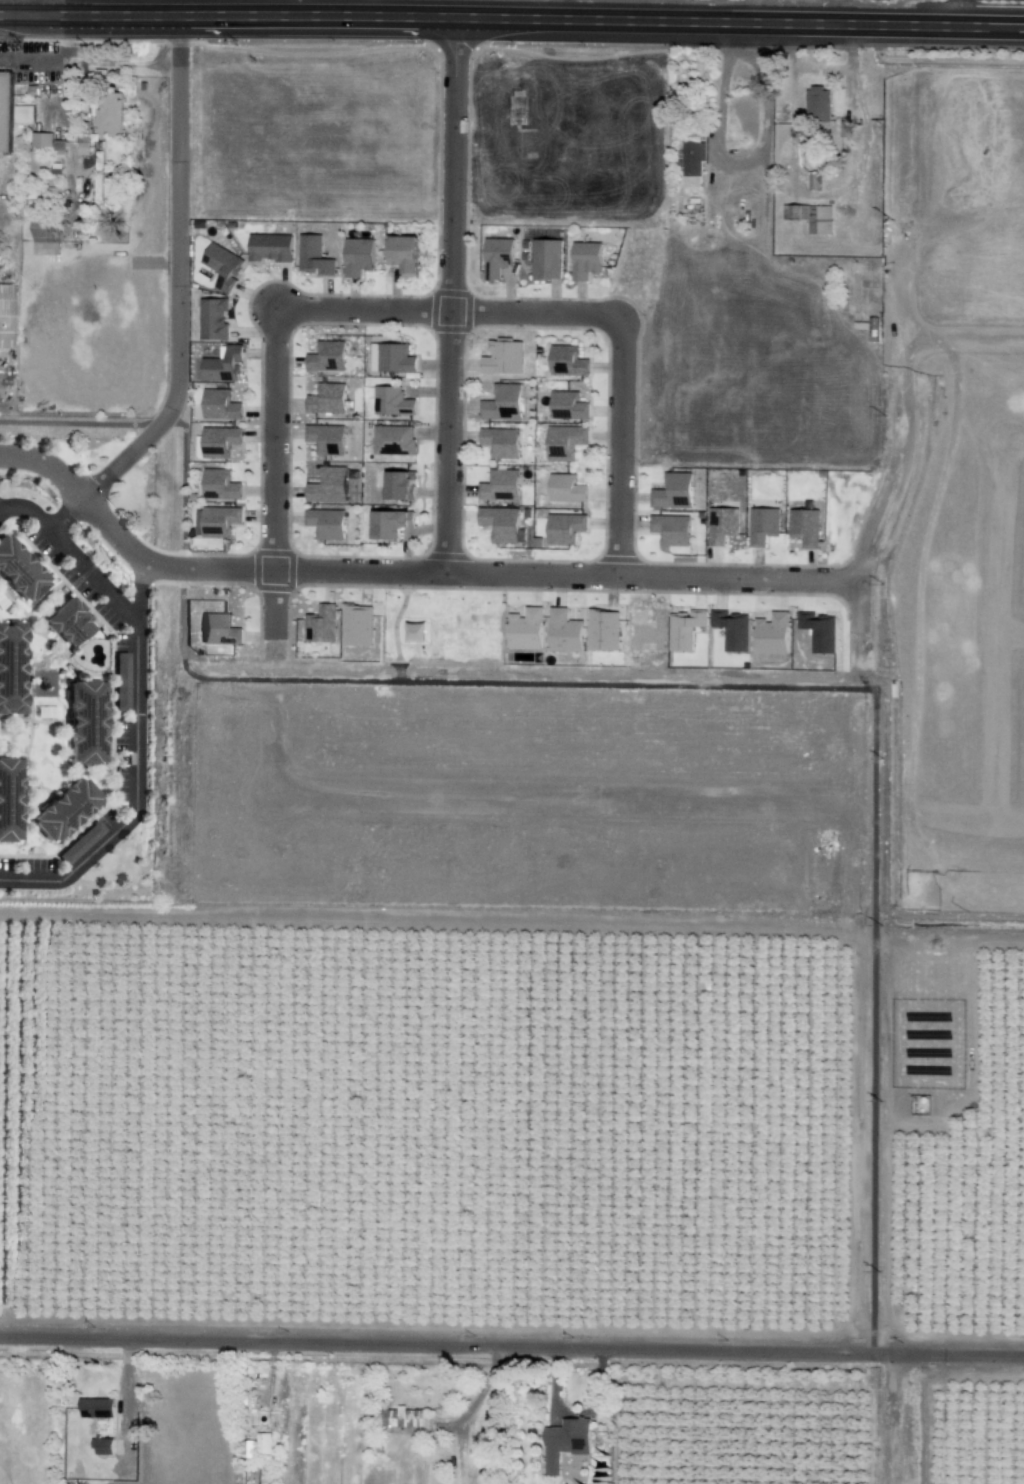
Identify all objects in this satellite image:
road: (36, 2)
road: (160, 9)
road: (291, 10)
road: (38, 11)
road: (87, 18)
road: (543, 22)
road: (967, 30)
building: (818, 104)
building: (5, 111)
building: (23, 113)
building: (108, 114)
road: (765, 117)
building: (41, 140)
building: (692, 158)
building: (810, 217)
road: (765, 221)
building: (46, 240)
building: (269, 247)
building: (405, 255)
building: (358, 256)
building: (313, 257)
building: (497, 257)
building: (546, 259)
building: (585, 260)
building: (222, 266)
road: (768, 274)
road: (176, 277)
road: (456, 296)
road: (448, 311)
building: (4, 315)
building: (213, 320)
road: (956, 327)
building: (327, 357)
building: (391, 358)
building: (567, 361)
building: (222, 366)
building: (326, 399)
building: (392, 402)
building: (502, 403)
building: (220, 405)
building: (567, 406)
road: (878, 415)
building: (325, 439)
building: (393, 440)
building: (219, 441)
building: (500, 442)
building: (564, 442)
road: (618, 443)
road: (1013, 444)
building: (220, 485)
building: (327, 486)
building: (400, 486)
building: (499, 486)
building: (565, 488)
building: (673, 491)
road: (26, 512)
road: (65, 515)
building: (216, 521)
building: (500, 523)
building: (325, 524)
building: (390, 524)
building: (722, 525)
building: (762, 526)
building: (804, 527)
building: (564, 528)
building: (671, 529)
road: (276, 552)
road: (407, 569)
building: (18, 572)
road: (139, 589)
building: (68, 624)
building: (321, 625)
building: (219, 630)
building: (731, 630)
road: (1013, 633)
building: (772, 634)
road: (1002, 635)
building: (10, 669)
road: (527, 681)
building: (83, 723)
road: (136, 733)
road: (649, 799)
building: (8, 801)
building: (62, 811)
road: (512, 1345)
building: (96, 1407)
building: (401, 1417)
building: (564, 1442)
building: (263, 1444)
building: (102, 1446)
building: (246, 1449)

